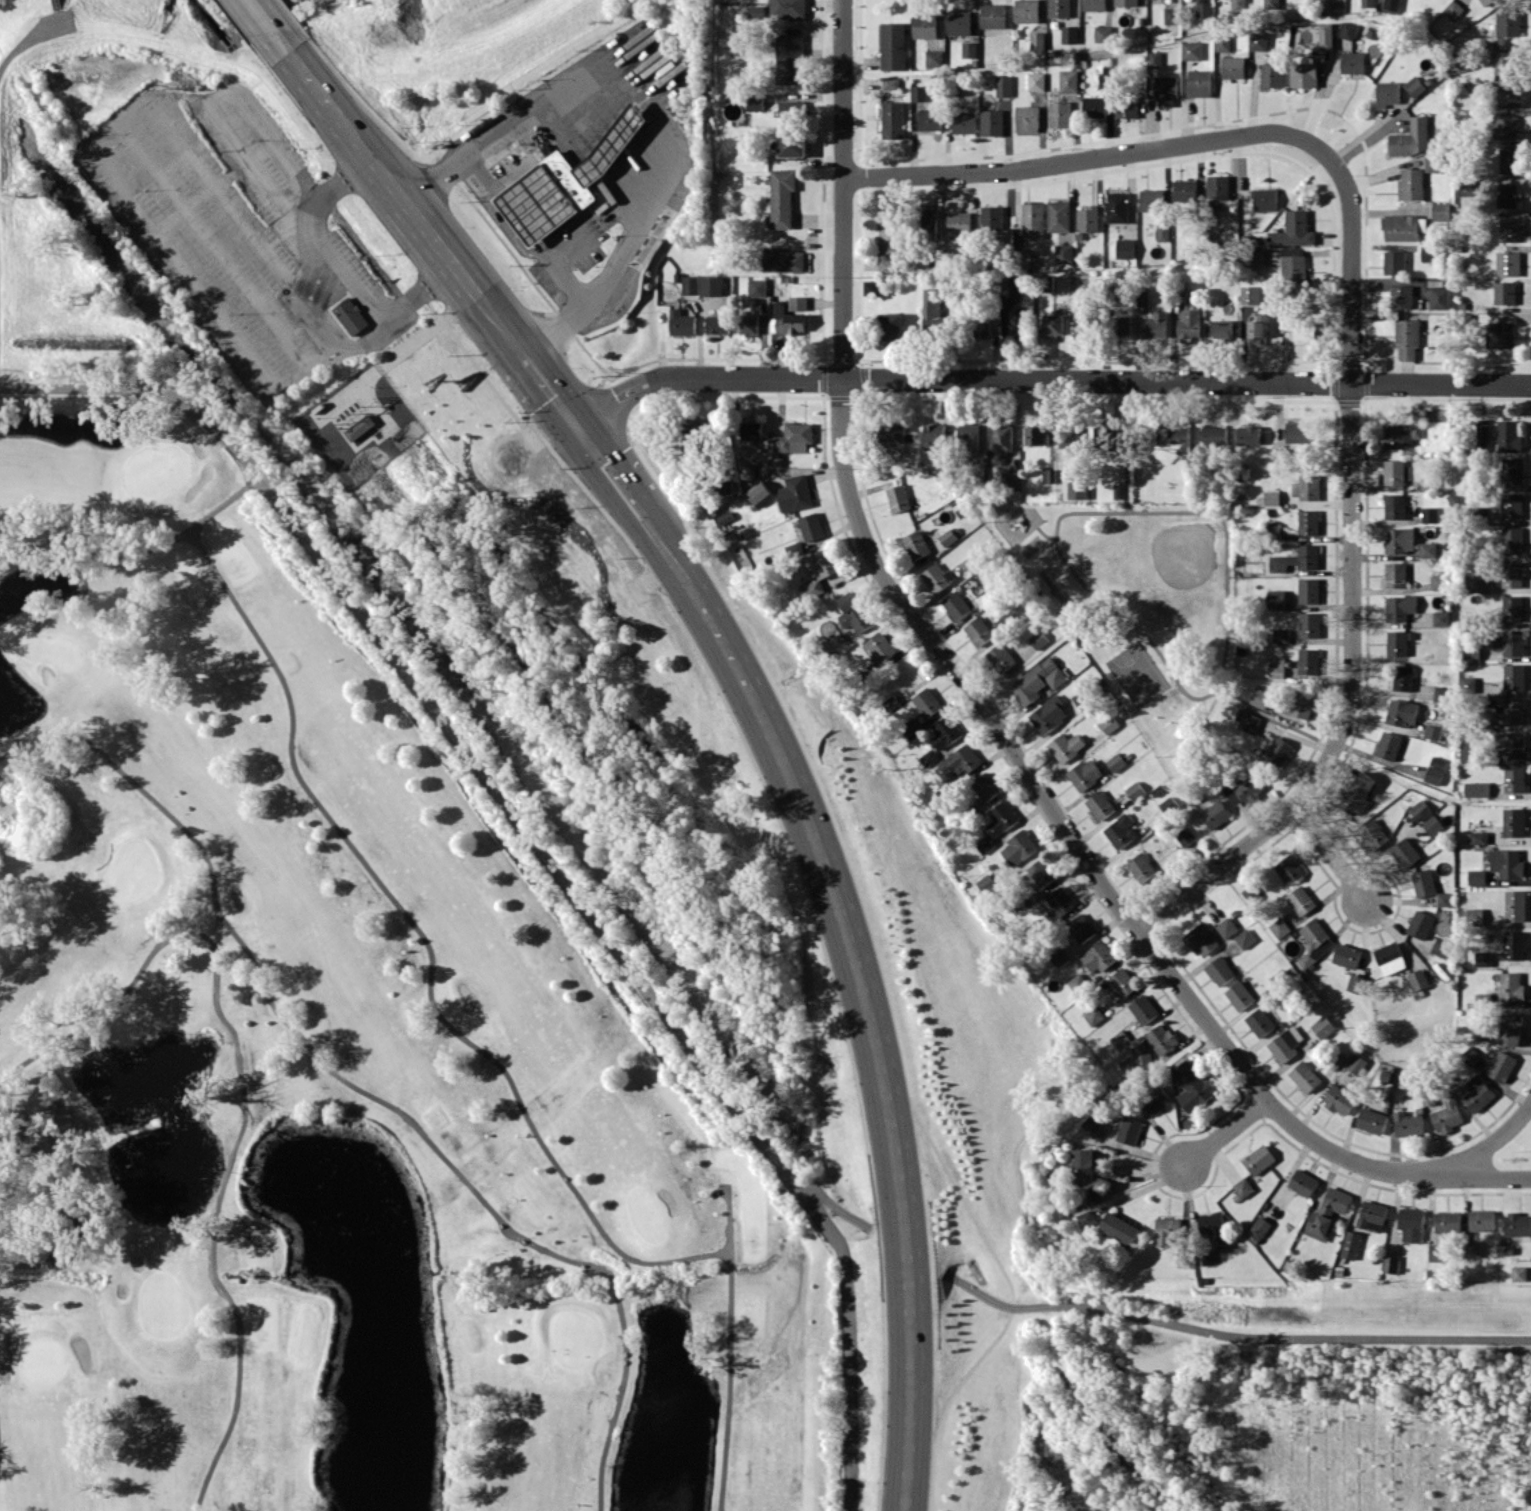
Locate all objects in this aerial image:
building: (1126, 2)
building: (1485, 2)
building: (1367, 3)
road: (58, 4)
building: (1271, 4)
building: (1391, 4)
building: (1094, 5)
building: (1238, 5)
building: (788, 8)
building: (1059, 8)
building: (1203, 9)
building: (1453, 9)
building: (1027, 11)
building: (757, 12)
building: (1170, 14)
road: (261, 15)
building: (993, 15)
building: (959, 22)
building: (1507, 23)
building: (924, 26)
building: (1347, 30)
building: (1103, 33)
building: (1069, 34)
road: (32, 35)
building: (1326, 35)
building: (1037, 40)
building: (1258, 41)
building: (1003, 42)
building: (1223, 42)
building: (893, 45)
building: (969, 49)
building: (1191, 50)
building: (790, 55)
building: (934, 57)
building: (1154, 58)
building: (1503, 61)
building: (1352, 62)
building: (1233, 67)
building: (1271, 74)
building: (1303, 74)
building: (1106, 76)
building: (1069, 80)
building: (1036, 81)
building: (891, 82)
building: (1199, 83)
building: (1003, 85)
building: (1414, 85)
building: (1166, 89)
building: (918, 92)
building: (1387, 93)
building: (1509, 94)
road: (203, 101)
building: (755, 102)
road: (644, 106)
building: (1095, 106)
building: (1126, 108)
building: (790, 109)
building: (1059, 114)
building: (1027, 118)
building: (893, 119)
building: (929, 119)
building: (964, 122)
building: (991, 122)
building: (1504, 126)
building: (1410, 137)
building: (792, 146)
road: (1082, 159)
building: (1510, 160)
building: (1433, 161)
road: (105, 169)
building: (565, 181)
gas station: (565, 181)
building: (1410, 184)
building: (1217, 186)
road: (842, 187)
building: (1185, 190)
building: (1506, 194)
road: (397, 195)
building: (782, 197)
building: (1265, 199)
building: (1151, 200)
building: (1117, 207)
building: (1440, 211)
building: (1059, 215)
parking lot: (215, 216)
building: (991, 217)
building: (928, 218)
building: (1087, 218)
building: (1033, 220)
building: (959, 222)
building: (1403, 227)
building: (1510, 229)
building: (1293, 230)
building: (1163, 232)
road: (511, 233)
building: (888, 241)
road: (211, 245)
building: (1125, 248)
building: (1064, 253)
building: (1428, 253)
building: (1254, 257)
building: (935, 258)
building: (783, 260)
building: (1394, 262)
building: (1507, 263)
building: (1295, 270)
road: (349, 271)
building: (689, 284)
building: (711, 285)
building: (1011, 285)
building: (756, 287)
building: (872, 287)
building: (1504, 292)
building: (1249, 294)
building: (1401, 296)
building: (1438, 297)
building: (334, 301)
building: (797, 302)
building: (933, 310)
road: (304, 317)
building: (786, 319)
building: (681, 322)
building: (1017, 322)
building: (748, 323)
building: (890, 323)
building: (1053, 323)
building: (1189, 323)
building: (717, 324)
building: (1123, 324)
building: (1155, 324)
building: (1299, 324)
building: (981, 325)
building: (1084, 326)
building: (1257, 327)
building: (1223, 329)
building: (1497, 335)
building: (1407, 338)
road: (702, 375)
road: (823, 377)
road: (1186, 378)
road: (550, 393)
road: (842, 396)
road: (611, 401)
building: (360, 427)
traffic signals: (577, 428)
building: (751, 430)
building: (894, 433)
building: (1297, 433)
building: (933, 434)
building: (1035, 434)
building: (1104, 434)
building: (1179, 434)
building: (1248, 434)
building: (1214, 435)
building: (1399, 435)
building: (696, 436)
building: (968, 436)
building: (1068, 436)
building: (1498, 436)
building: (791, 438)
road: (1126, 454)
road: (611, 471)
building: (1393, 471)
building: (1511, 471)
building: (1048, 475)
building: (1077, 488)
building: (1305, 488)
building: (794, 493)
building: (760, 494)
building: (1271, 497)
building: (897, 498)
building: (1394, 506)
building: (1511, 506)
road: (837, 508)
building: (1429, 514)
building: (1308, 522)
road: (80, 524)
building: (810, 526)
building: (947, 537)
building: (1399, 539)
building: (1511, 540)
building: (915, 544)
road: (139, 550)
building: (1301, 557)
building: (820, 563)
park: (1159, 569)
building: (1395, 574)
building: (1511, 574)
building: (936, 577)
road: (1351, 578)
park: (1054, 580)
building: (1438, 582)
building: (1475, 583)
building: (810, 589)
building: (1308, 590)
building: (1275, 598)
building: (955, 604)
building: (1399, 607)
building: (1512, 608)
park: (1141, 609)
building: (852, 612)
building: (1440, 618)
building: (1309, 624)
building: (977, 631)
building: (1280, 635)
building: (1037, 638)
building: (1508, 642)
building: (1396, 643)
building: (879, 645)
park: (1127, 656)
building: (999, 657)
building: (1308, 660)
road: (1022, 662)
building: (1276, 667)
building: (1513, 676)
building: (1402, 677)
building: (1037, 679)
building: (1468, 683)
building: (1442, 694)
building: (1260, 697)
building: (1080, 698)
park: (1157, 700)
building: (925, 702)
building: (1300, 703)
building: (1510, 710)
building: (1400, 712)
building: (1047, 714)
road: (1270, 714)
road: (443, 719)
building: (1249, 722)
building: (1108, 724)
building: (944, 731)
building: (1432, 731)
building: (1510, 744)
building: (1388, 745)
building: (1065, 746)
building: (1279, 751)
building: (1468, 753)
building: (927, 757)
building: (960, 760)
building: (1115, 761)
building: (1435, 770)
building: (1084, 773)
building: (1513, 778)
building: (984, 786)
building: (1244, 788)
building: (1476, 789)
building: (1134, 790)
building: (1357, 794)
building: (1098, 805)
building: (1168, 805)
building: (1419, 809)
building: (1215, 814)
road: (1060, 822)
building: (1513, 822)
building: (995, 825)
building: (1432, 825)
building: (1120, 831)
building: (1373, 833)
building: (1478, 837)
building: (1017, 847)
road: (1330, 852)
building: (1404, 852)
road: (822, 862)
building: (1506, 862)
building: (1140, 867)
building: (1289, 868)
building: (1040, 872)
building: (1476, 876)
building: (1423, 882)
building: (986, 883)
building: (1249, 894)
building: (1444, 899)
building: (1059, 900)
building: (1300, 900)
building: (1514, 905)
building: (1473, 916)
building: (1419, 924)
building: (1080, 927)
building: (1226, 927)
building: (1278, 927)
building: (1244, 938)
building: (1200, 939)
building: (1314, 941)
road: (427, 943)
building: (1513, 944)
building: (1440, 947)
building: (1346, 955)
building: (1097, 956)
building: (1057, 957)
building: (1389, 958)
building: (1482, 958)
building: (1219, 970)
road: (216, 975)
building: (1417, 979)
building: (1076, 982)
building: (1122, 982)
building: (1356, 983)
building: (1510, 986)
building: (1239, 995)
park: (321, 1005)
building: (1143, 1009)
road: (277, 1011)
building: (1093, 1015)
building: (1259, 1021)
building: (1323, 1026)
building: (1510, 1029)
building: (1161, 1038)
building: (1119, 1039)
building: (1285, 1043)
building: (1470, 1055)
building: (1141, 1056)
park: (327, 1066)
building: (1501, 1066)
building: (1304, 1076)
building: (1191, 1085)
building: (1477, 1093)
building: (1155, 1099)
building: (1339, 1099)
road: (1255, 1106)
building: (1446, 1115)
building: (1371, 1120)
building: (1407, 1124)
building: (1092, 1125)
building: (1128, 1130)
road: (1224, 1131)
road: (1478, 1150)
building: (1258, 1159)
building: (1082, 1165)
road: (1471, 1177)
building: (1302, 1182)
building: (1242, 1186)
building: (1090, 1194)
building: (1335, 1200)
road: (837, 1210)
building: (1371, 1215)
building: (1085, 1218)
road: (727, 1220)
building: (1481, 1220)
building: (1447, 1221)
building: (1410, 1224)
building: (1517, 1224)
building: (1318, 1225)
building: (1118, 1227)
building: (1258, 1228)
building: (1213, 1229)
building: (1166, 1230)
building: (1349, 1244)
building: (1472, 1248)
building: (1436, 1252)
building: (1390, 1264)
road: (730, 1267)
road: (214, 1273)
building: (1518, 1273)
road: (612, 1283)
road: (1233, 1335)
road: (849, 1346)
road: (911, 1376)
road: (727, 1393)
road: (237, 1395)
road: (949, 1400)
road: (617, 1401)

